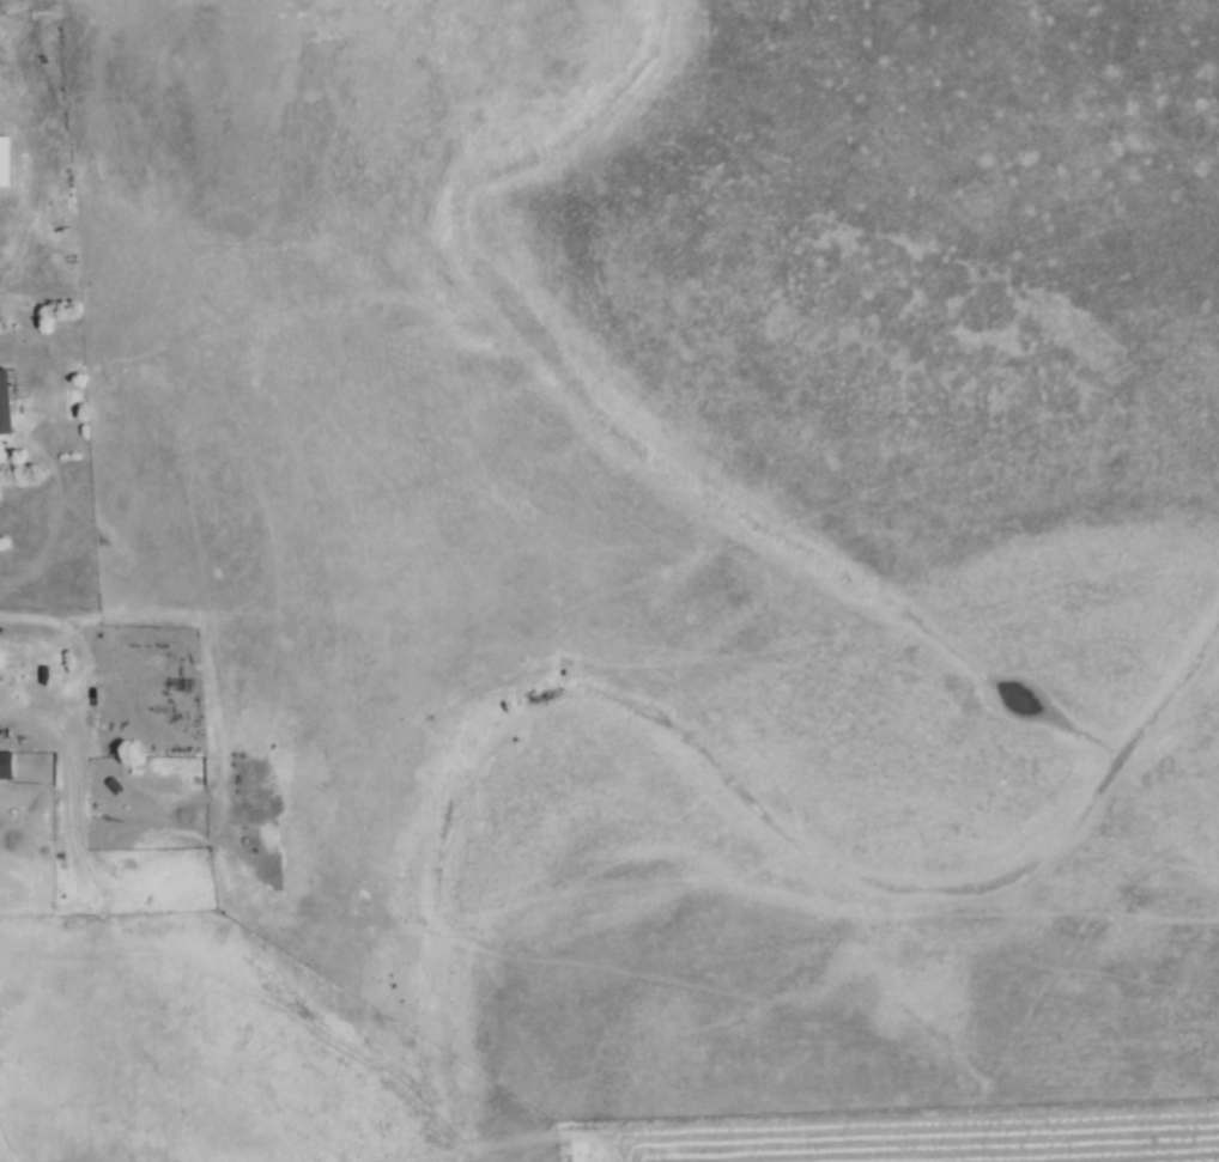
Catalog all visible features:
building: (5, 162)
building: (7, 402)
road: (91, 679)
building: (8, 767)

